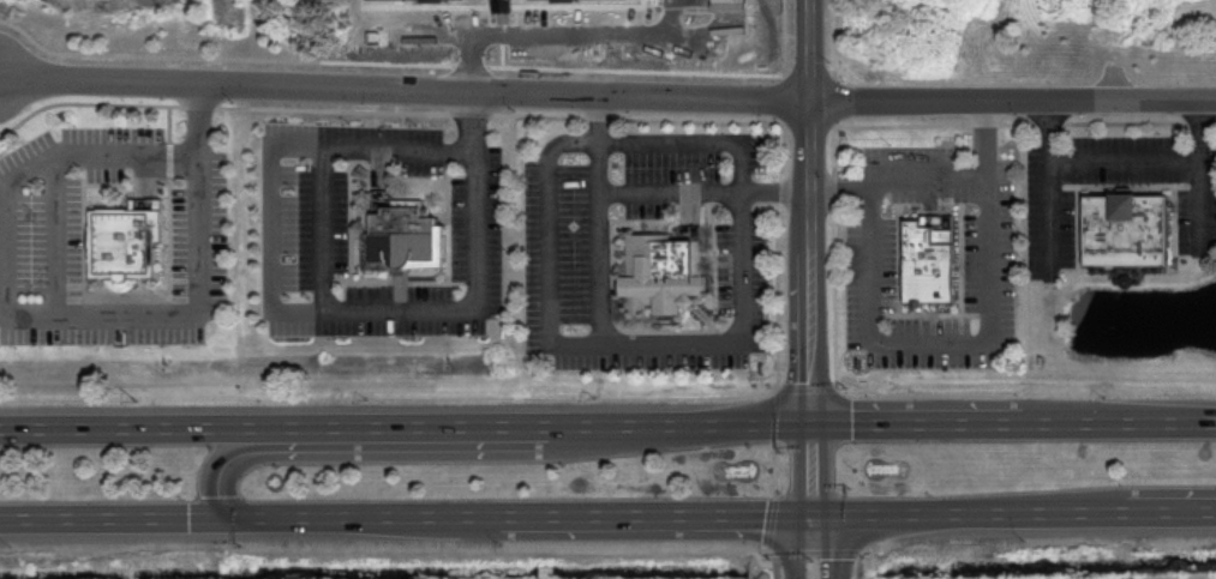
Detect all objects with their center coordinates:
road: (539, 40)
road: (164, 55)
road: (783, 61)
road: (832, 61)
road: (405, 90)
road: (1012, 99)
road: (521, 116)
road: (880, 122)
road: (809, 123)
road: (703, 145)
road: (1156, 158)
road: (927, 179)
road: (1052, 181)
road: (643, 193)
road: (1203, 200)
road: (811, 212)
parking lot: (1049, 221)
building: (1124, 227)
road: (270, 230)
road: (55, 235)
parking lot: (300, 236)
building: (402, 236)
parking lot: (40, 240)
building: (127, 240)
building: (930, 261)
parking lot: (869, 265)
road: (599, 269)
building: (664, 271)
parking lot: (562, 273)
road: (346, 309)
road: (47, 318)
road: (947, 342)
road: (594, 344)
road: (803, 386)
road: (773, 414)
road: (1016, 423)
traffic signals: (815, 424)
road: (407, 427)
road: (256, 448)
road: (773, 468)
road: (815, 470)
road: (1016, 514)
road: (407, 515)
traffic signals: (816, 515)
traffic signals: (230, 517)
road: (771, 521)
road: (796, 544)
road: (831, 545)
road: (813, 550)
road: (773, 563)
road: (858, 563)

